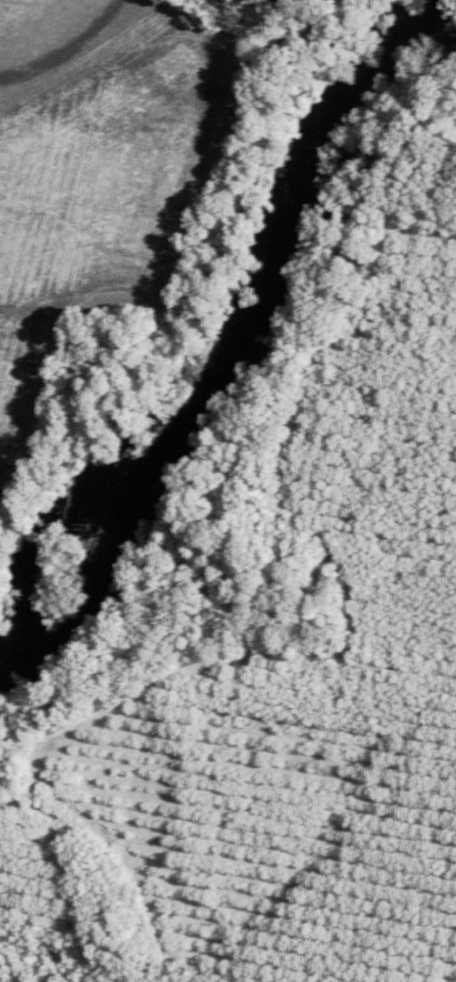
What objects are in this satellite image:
railway: (26, 976)

